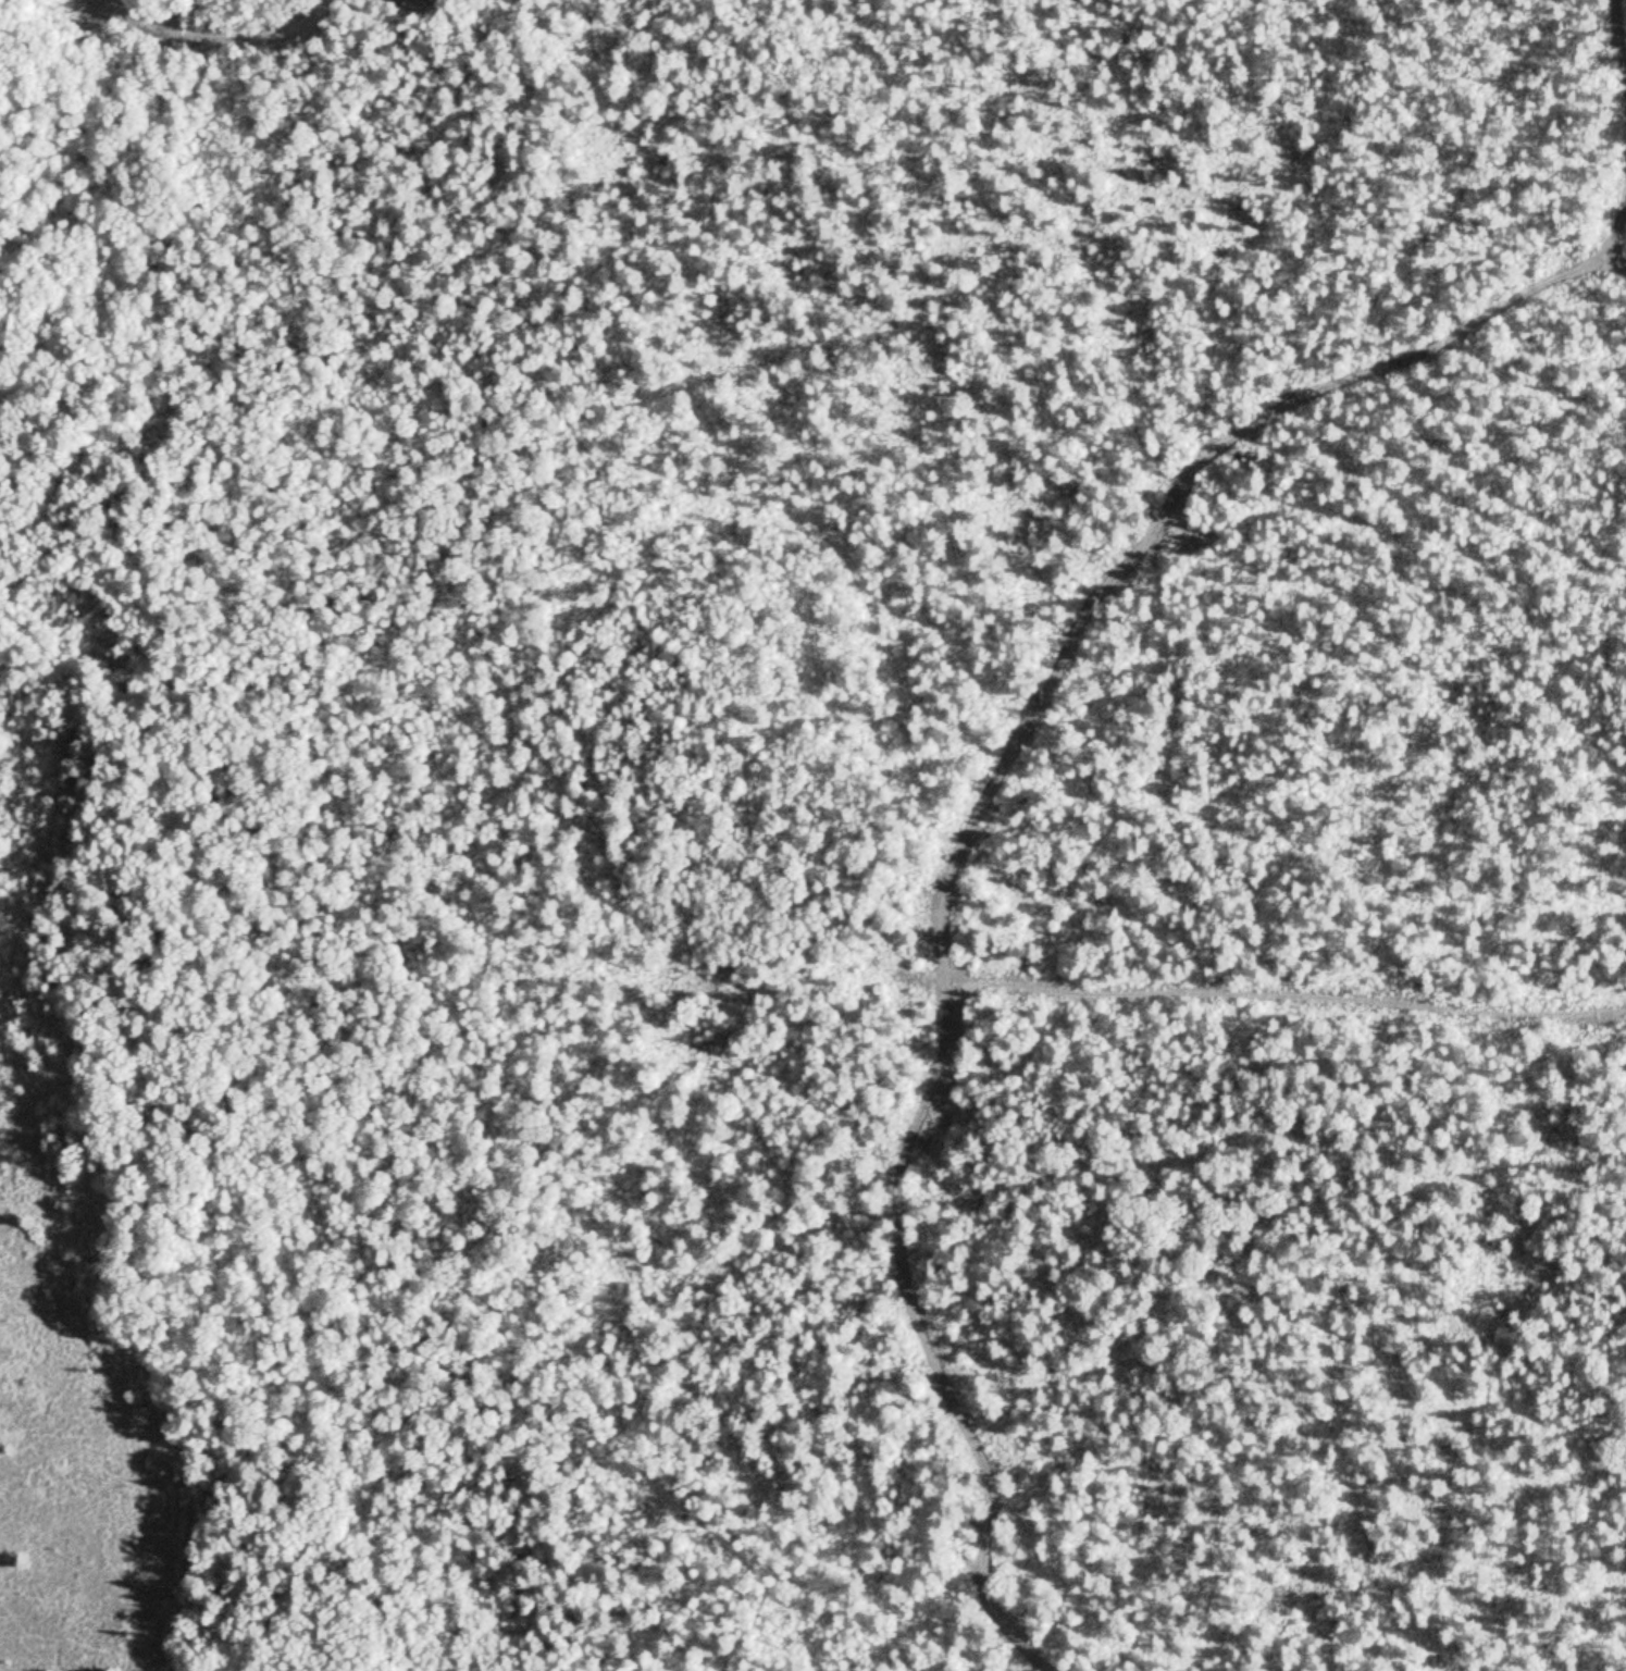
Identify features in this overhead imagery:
road: (237, 27)
road: (171, 260)

